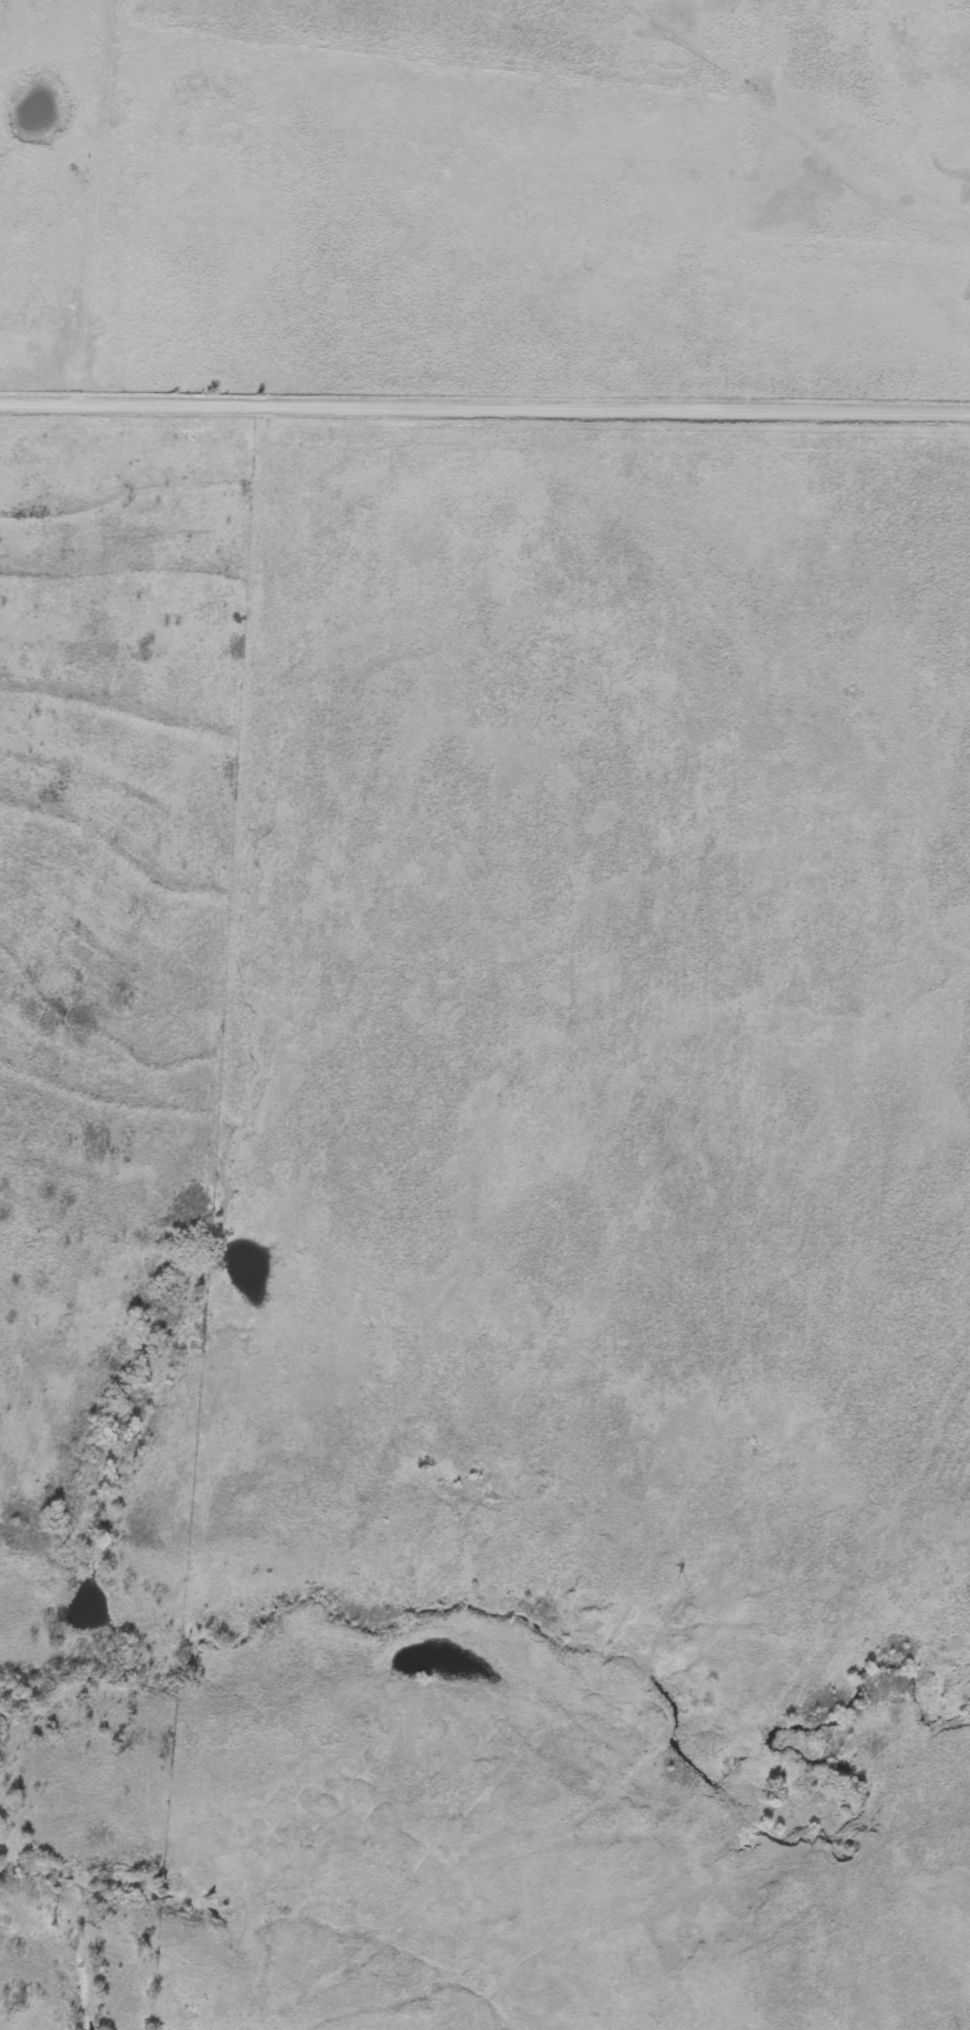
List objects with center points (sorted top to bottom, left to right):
road: (81, 200)
road: (485, 408)

